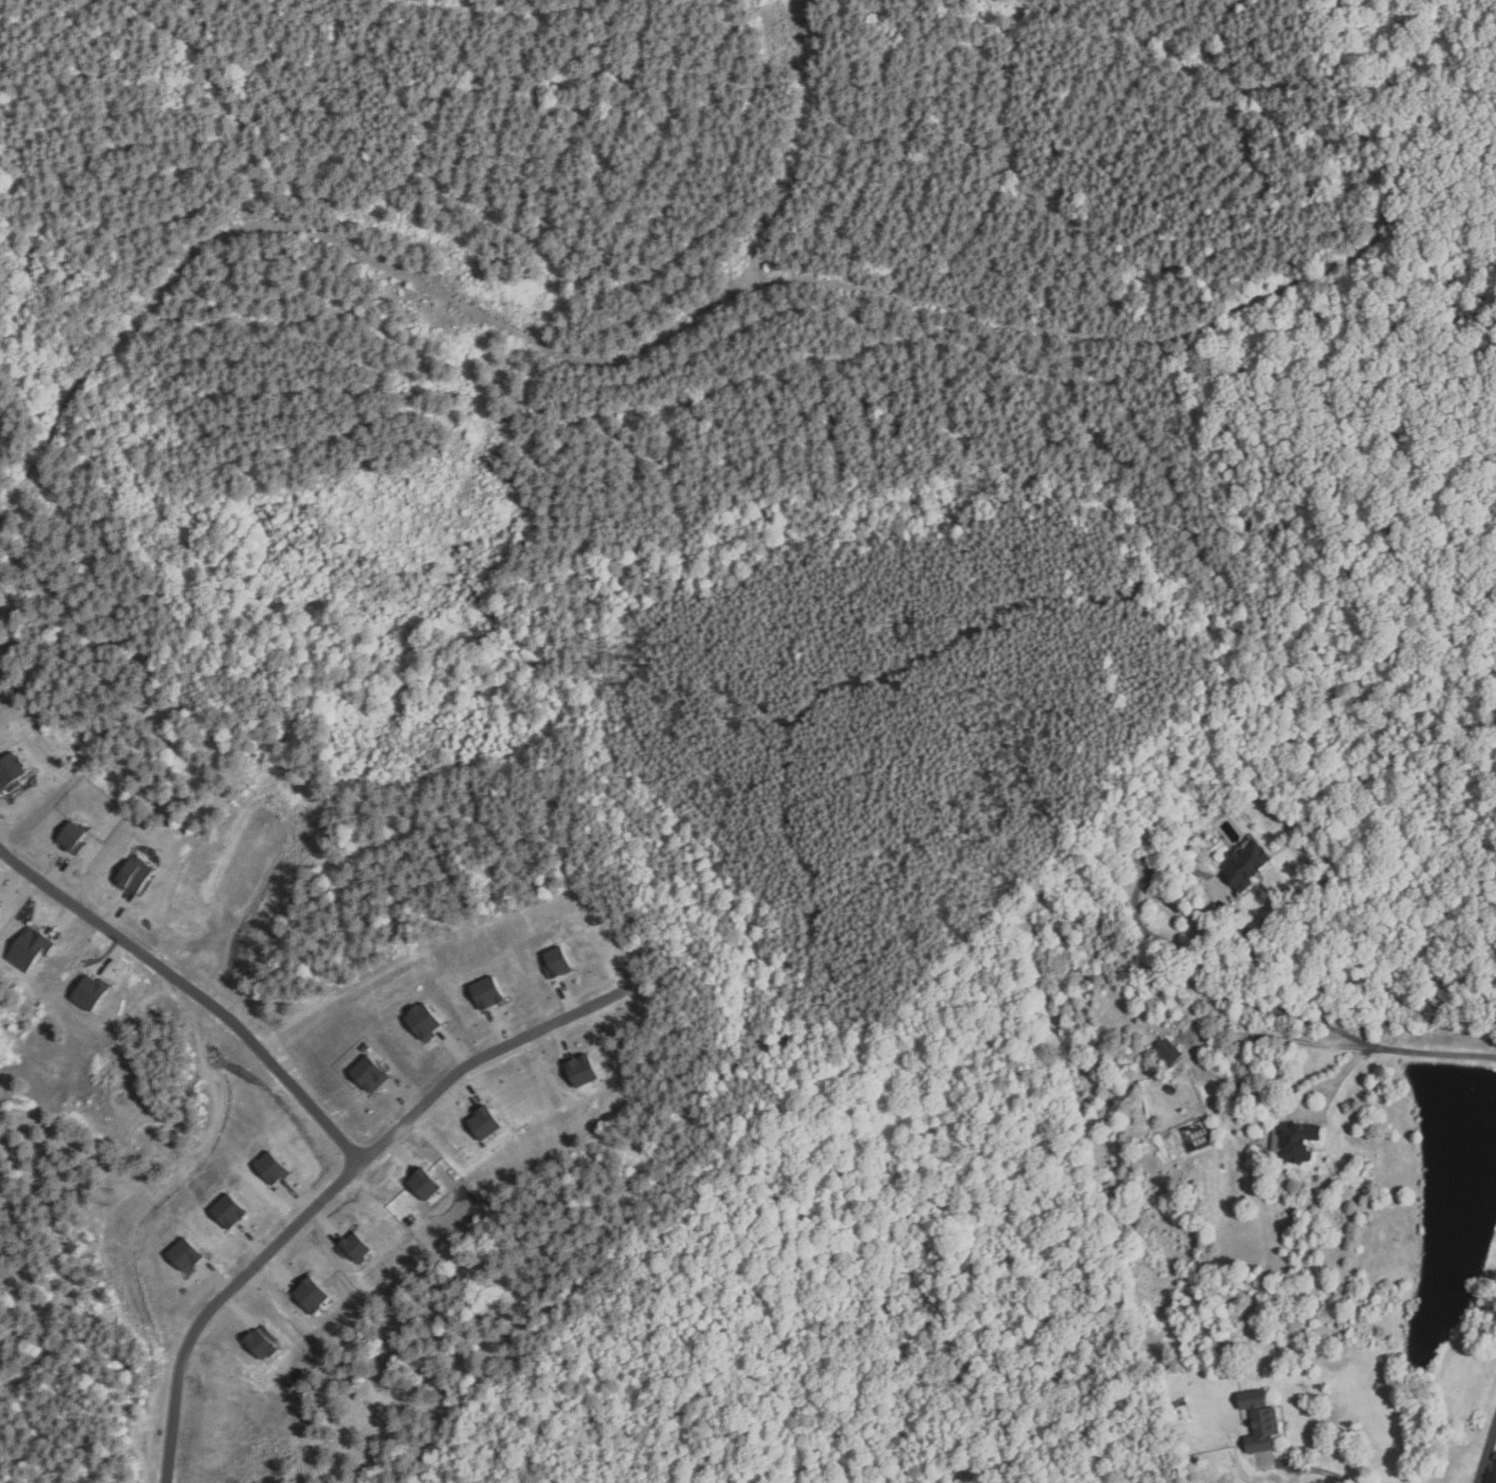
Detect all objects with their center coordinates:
building: (11, 773)
building: (72, 839)
building: (1247, 866)
road: (1190, 871)
building: (134, 875)
park: (417, 881)
building: (0, 908)
building: (30, 949)
building: (556, 963)
road: (193, 990)
building: (90, 993)
building: (487, 994)
building: (423, 1022)
road: (1285, 1039)
road: (1433, 1052)
building: (1167, 1053)
building: (582, 1072)
building: (371, 1075)
building: (1172, 1090)
road: (1321, 1109)
building: (484, 1123)
building: (1297, 1142)
building: (272, 1170)
building: (423, 1184)
road: (336, 1186)
building: (229, 1212)
building: (354, 1249)
building: (185, 1258)
building: (311, 1295)
building: (263, 1342)
building: (1260, 1421)
road: (1487, 1456)
road: (1328, 1472)

